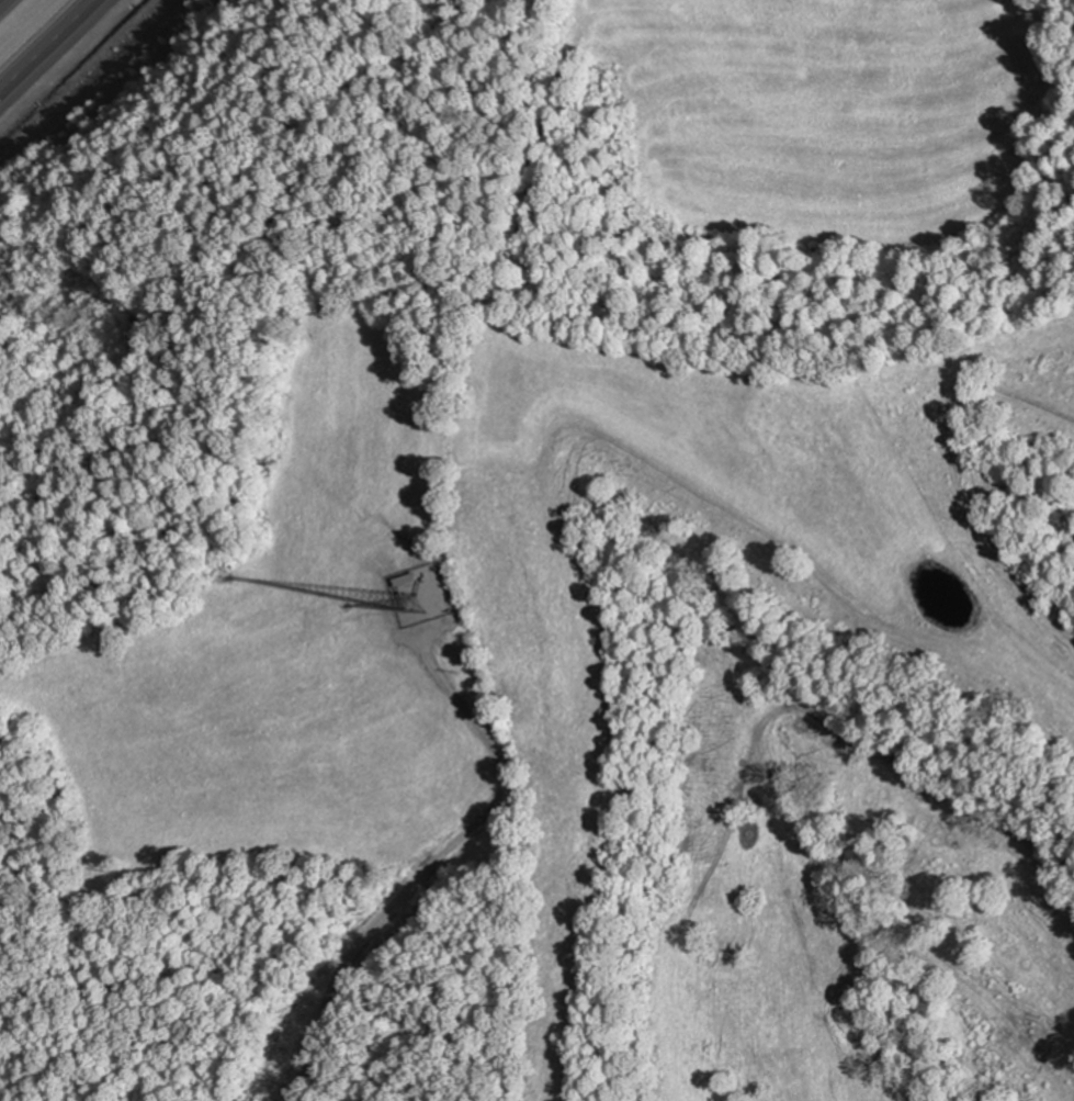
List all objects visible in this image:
road: (0, 0)
road: (48, 47)

